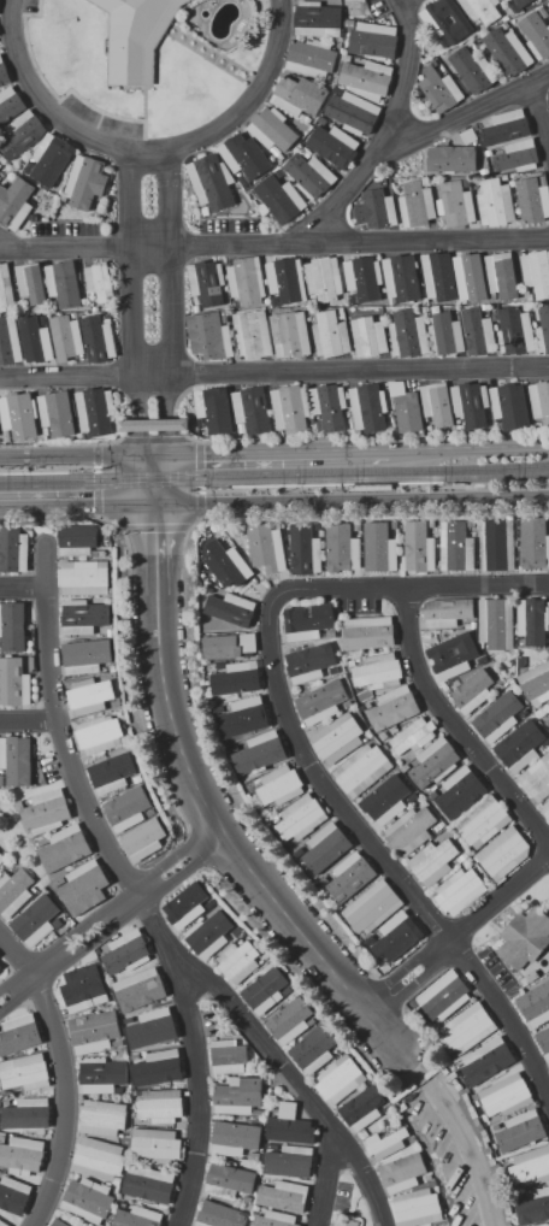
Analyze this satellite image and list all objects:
building: (506, 1)
building: (523, 2)
building: (548, 6)
building: (548, 8)
building: (480, 10)
building: (542, 12)
building: (443, 18)
building: (317, 19)
building: (504, 25)
building: (536, 35)
building: (135, 36)
building: (373, 42)
building: (507, 53)
building: (311, 58)
building: (346, 58)
building: (442, 69)
building: (473, 69)
building: (4, 73)
building: (330, 78)
building: (366, 79)
building: (441, 89)
building: (548, 95)
building: (299, 96)
building: (10, 104)
building: (353, 112)
road: (460, 116)
road: (539, 116)
building: (323, 122)
building: (506, 128)
building: (271, 129)
building: (23, 134)
road: (384, 134)
building: (470, 136)
building: (333, 146)
road: (150, 151)
building: (274, 151)
building: (305, 152)
building: (489, 153)
building: (518, 155)
building: (244, 157)
building: (281, 157)
building: (49, 159)
building: (451, 159)
building: (0, 165)
building: (484, 171)
building: (279, 173)
building: (309, 175)
building: (504, 176)
building: (0, 177)
building: (211, 181)
building: (243, 181)
building: (543, 181)
building: (84, 182)
building: (466, 183)
building: (279, 199)
building: (532, 200)
building: (14, 202)
building: (495, 202)
building: (417, 205)
building: (455, 205)
building: (376, 208)
building: (205, 211)
parking lot: (229, 225)
parking lot: (63, 229)
road: (274, 240)
road: (167, 260)
road: (130, 261)
building: (536, 272)
building: (438, 276)
building: (471, 276)
building: (501, 276)
building: (324, 278)
building: (364, 278)
building: (401, 278)
building: (247, 279)
building: (287, 279)
building: (100, 282)
building: (206, 282)
building: (31, 283)
building: (64, 284)
building: (5, 288)
building: (352, 299)
building: (391, 300)
building: (53, 301)
building: (274, 301)
building: (464, 301)
building: (91, 302)
building: (235, 305)
building: (485, 307)
building: (95, 308)
building: (196, 308)
building: (454, 308)
building: (525, 308)
building: (341, 313)
building: (73, 314)
building: (107, 314)
building: (224, 317)
building: (495, 317)
building: (382, 318)
building: (543, 329)
building: (516, 331)
building: (478, 332)
building: (252, 334)
building: (290, 334)
building: (408, 334)
building: (444, 334)
building: (330, 335)
building: (209, 336)
building: (368, 336)
building: (66, 337)
building: (95, 338)
building: (10, 340)
building: (36, 341)
road: (274, 371)
building: (539, 401)
building: (402, 403)
building: (436, 403)
building: (471, 403)
building: (329, 406)
building: (509, 406)
building: (212, 407)
building: (252, 408)
building: (290, 408)
building: (367, 408)
building: (17, 411)
building: (95, 411)
building: (57, 413)
road: (166, 415)
road: (137, 417)
road: (177, 423)
building: (154, 425)
building: (318, 426)
road: (154, 441)
road: (82, 444)
road: (472, 449)
road: (273, 452)
traffic signals: (154, 454)
road: (77, 455)
railway: (67, 467)
road: (82, 467)
railway: (274, 473)
road: (155, 478)
road: (98, 481)
road: (200, 481)
railway: (274, 482)
building: (370, 488)
road: (216, 490)
railway: (231, 494)
road: (352, 500)
traffic signals: (155, 503)
road: (77, 505)
road: (373, 511)
road: (48, 515)
building: (394, 521)
building: (30, 526)
road: (155, 527)
building: (318, 527)
building: (432, 527)
building: (30, 534)
building: (77, 540)
building: (535, 543)
building: (497, 546)
building: (418, 547)
building: (455, 547)
building: (13, 548)
building: (266, 548)
building: (341, 548)
building: (303, 549)
building: (380, 549)
building: (95, 553)
building: (225, 562)
building: (83, 577)
road: (22, 588)
building: (209, 589)
building: (230, 609)
building: (447, 611)
building: (83, 617)
building: (308, 620)
building: (532, 621)
building: (496, 623)
building: (13, 625)
building: (471, 625)
building: (370, 632)
building: (110, 633)
building: (228, 646)
building: (85, 655)
building: (249, 655)
building: (454, 656)
building: (352, 662)
building: (521, 662)
building: (30, 664)
building: (308, 664)
building: (220, 666)
building: (112, 668)
building: (335, 671)
building: (378, 671)
road: (134, 676)
building: (237, 678)
building: (14, 682)
building: (535, 684)
building: (472, 692)
building: (88, 696)
building: (320, 702)
building: (370, 705)
building: (362, 707)
building: (392, 708)
building: (218, 709)
building: (524, 713)
building: (243, 717)
building: (497, 717)
road: (29, 720)
building: (548, 723)
road: (454, 725)
building: (99, 733)
building: (368, 733)
building: (413, 736)
building: (337, 738)
building: (545, 744)
building: (520, 745)
road: (300, 747)
road: (70, 751)
building: (259, 754)
building: (16, 759)
building: (435, 762)
building: (406, 768)
building: (362, 770)
building: (112, 772)
building: (537, 778)
building: (1, 779)
building: (137, 779)
road: (220, 779)
building: (279, 785)
building: (459, 791)
building: (432, 795)
building: (413, 797)
building: (384, 800)
building: (19, 804)
road: (201, 806)
building: (545, 807)
building: (126, 808)
building: (46, 811)
building: (150, 812)
building: (301, 818)
building: (274, 819)
building: (482, 821)
building: (438, 826)
building: (451, 826)
building: (411, 830)
building: (444, 831)
building: (43, 841)
building: (146, 842)
building: (325, 847)
building: (64, 848)
building: (299, 851)
building: (502, 854)
building: (1, 857)
building: (462, 857)
building: (433, 860)
building: (349, 877)
building: (59, 882)
building: (84, 888)
building: (34, 890)
building: (459, 891)
building: (13, 892)
building: (213, 900)
building: (209, 906)
building: (184, 907)
building: (372, 907)
road: (106, 908)
building: (35, 920)
building: (57, 924)
road: (112, 924)
building: (237, 932)
road: (456, 933)
building: (209, 936)
building: (396, 937)
building: (525, 937)
building: (125, 951)
building: (265, 956)
building: (237, 961)
building: (1, 963)
building: (385, 967)
building: (0, 968)
building: (83, 988)
building: (138, 989)
building: (265, 990)
building: (287, 991)
building: (443, 996)
building: (535, 1004)
building: (128, 1020)
building: (290, 1021)
building: (153, 1028)
building: (467, 1030)
building: (94, 1031)
building: (19, 1035)
road: (258, 1036)
building: (543, 1042)
building: (117, 1043)
building: (340, 1047)
building: (313, 1050)
building: (229, 1057)
building: (486, 1062)
road: (409, 1063)
building: (158, 1066)
building: (444, 1071)
building: (24, 1073)
road: (65, 1073)
building: (101, 1075)
building: (451, 1075)
building: (340, 1079)
building: (454, 1081)
road: (199, 1086)
building: (457, 1086)
building: (136, 1095)
building: (238, 1095)
building: (506, 1095)
building: (464, 1096)
building: (474, 1097)
building: (467, 1102)
building: (160, 1106)
building: (362, 1108)
building: (388, 1108)
building: (471, 1108)
building: (28, 1114)
building: (473, 1114)
building: (102, 1118)
building: (477, 1121)
building: (290, 1126)
building: (480, 1127)
building: (496, 1127)
building: (520, 1131)
building: (483, 1132)
building: (2, 1137)
building: (234, 1138)
building: (485, 1139)
building: (384, 1143)
building: (485, 1144)
building: (155, 1145)
road: (467, 1149)
building: (488, 1150)
building: (22, 1156)
building: (490, 1156)
building: (99, 1159)
building: (491, 1161)
building: (289, 1162)
building: (531, 1167)
building: (402, 1172)
road: (366, 1177)
building: (495, 1177)
building: (427, 1178)
building: (116, 1180)
building: (229, 1180)
road: (327, 1180)
building: (148, 1184)
building: (13, 1195)
building: (283, 1196)
building: (87, 1201)
building: (123, 1204)
building: (504, 1206)
building: (533, 1207)
building: (417, 1208)
building: (507, 1212)
building: (220, 1215)
building: (137, 1216)
building: (507, 1218)
building: (274, 1219)
building: (58, 1222)
building: (343, 1222)
building: (507, 1222)
building: (2, 1224)
building: (548, 1225)

